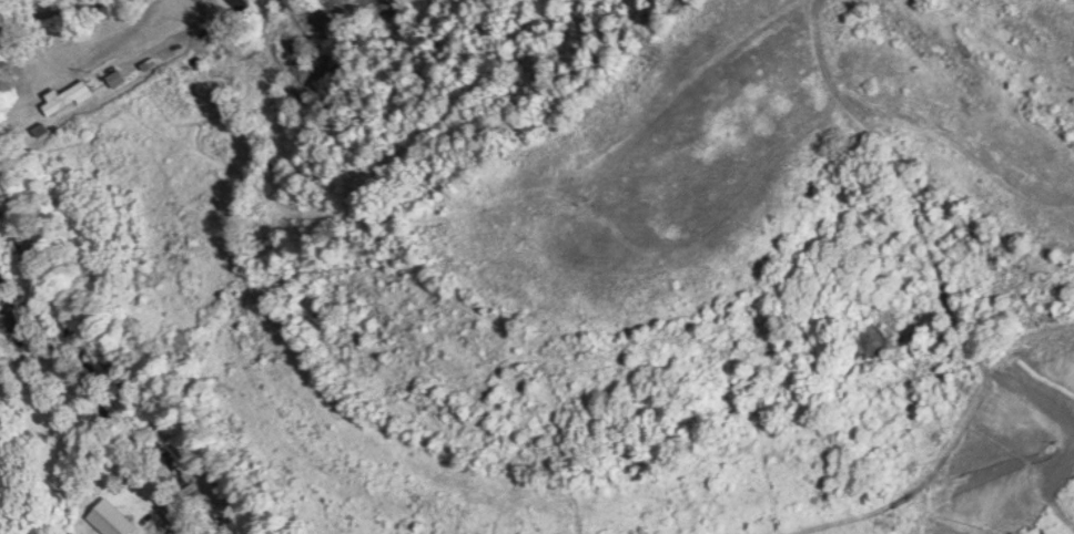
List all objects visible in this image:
road: (29, 8)
road: (174, 31)
building: (61, 99)
road: (110, 374)
building: (107, 520)

